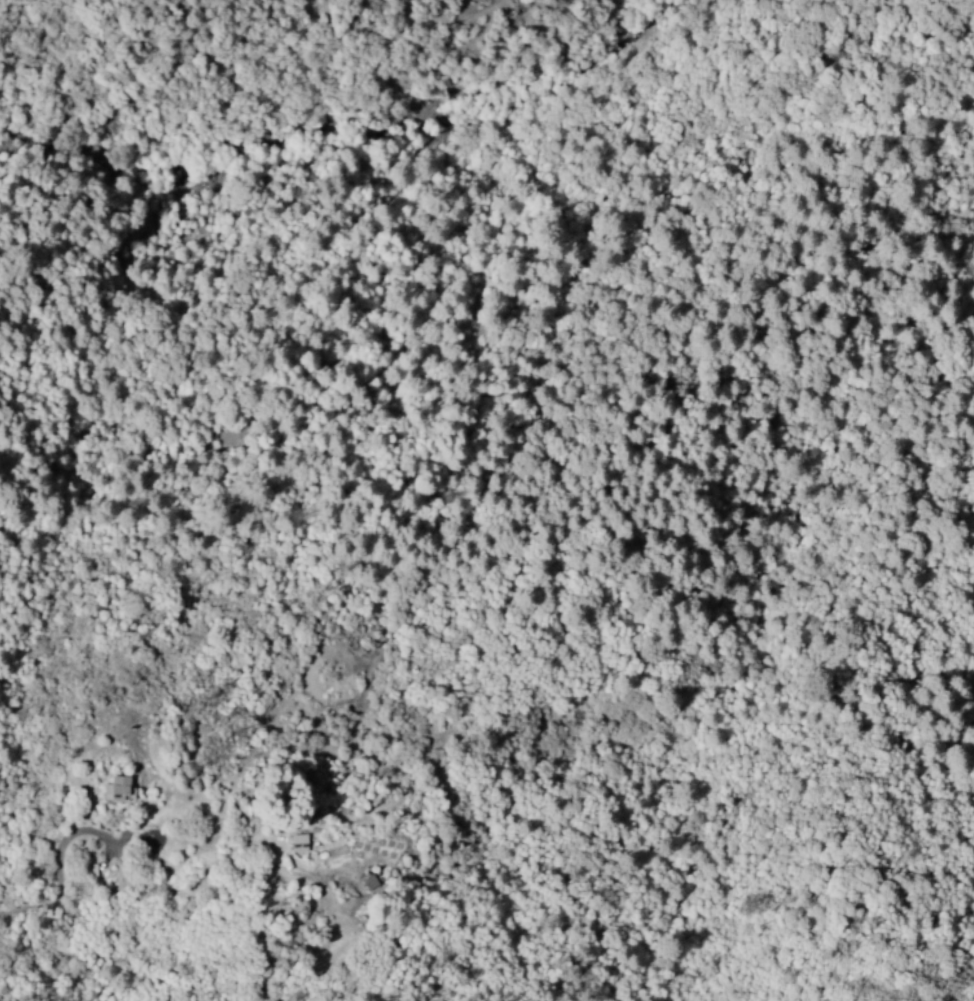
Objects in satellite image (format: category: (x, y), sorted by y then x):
road: (769, 601)
building: (117, 791)
building: (298, 845)

